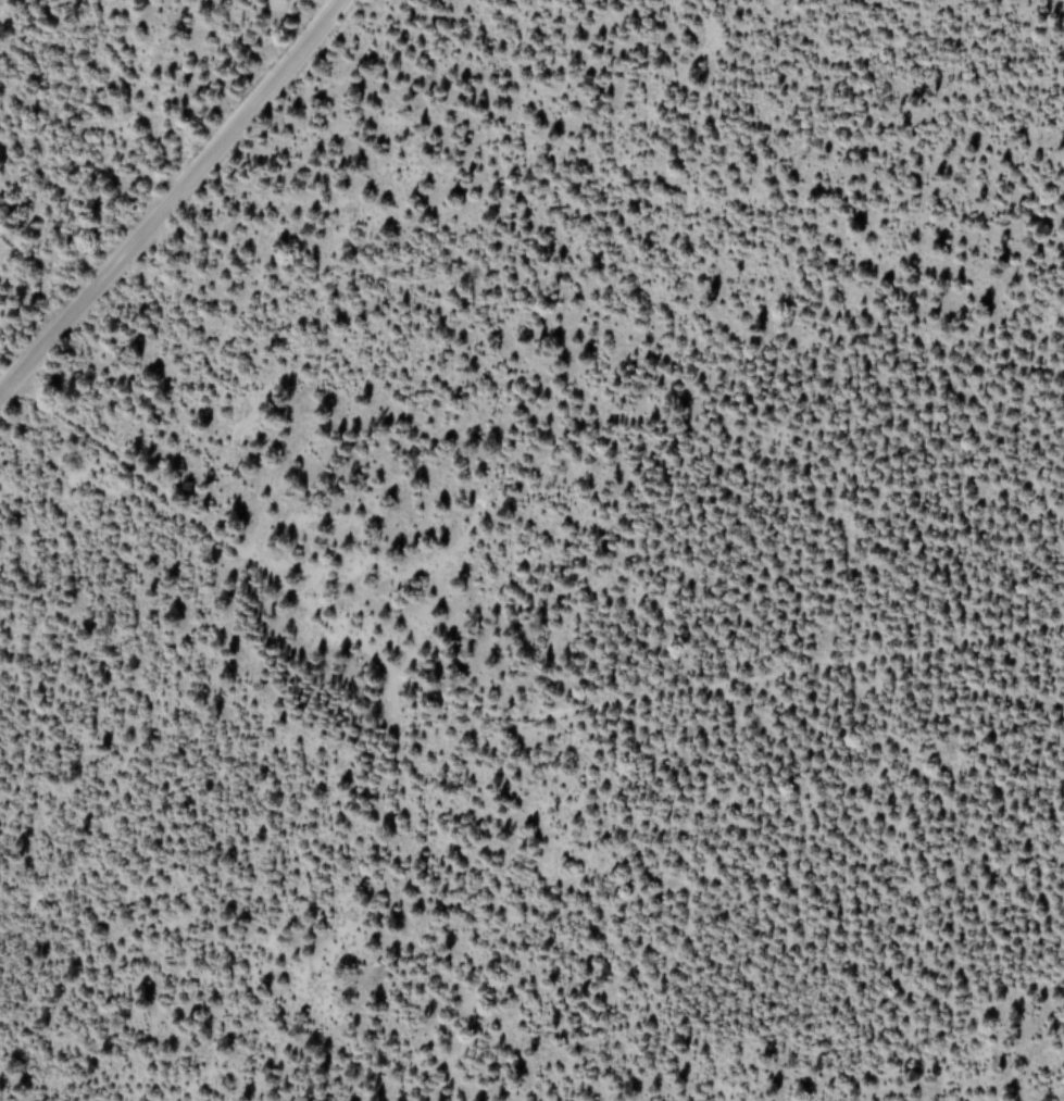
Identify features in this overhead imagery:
road: (172, 198)
road: (487, 713)

